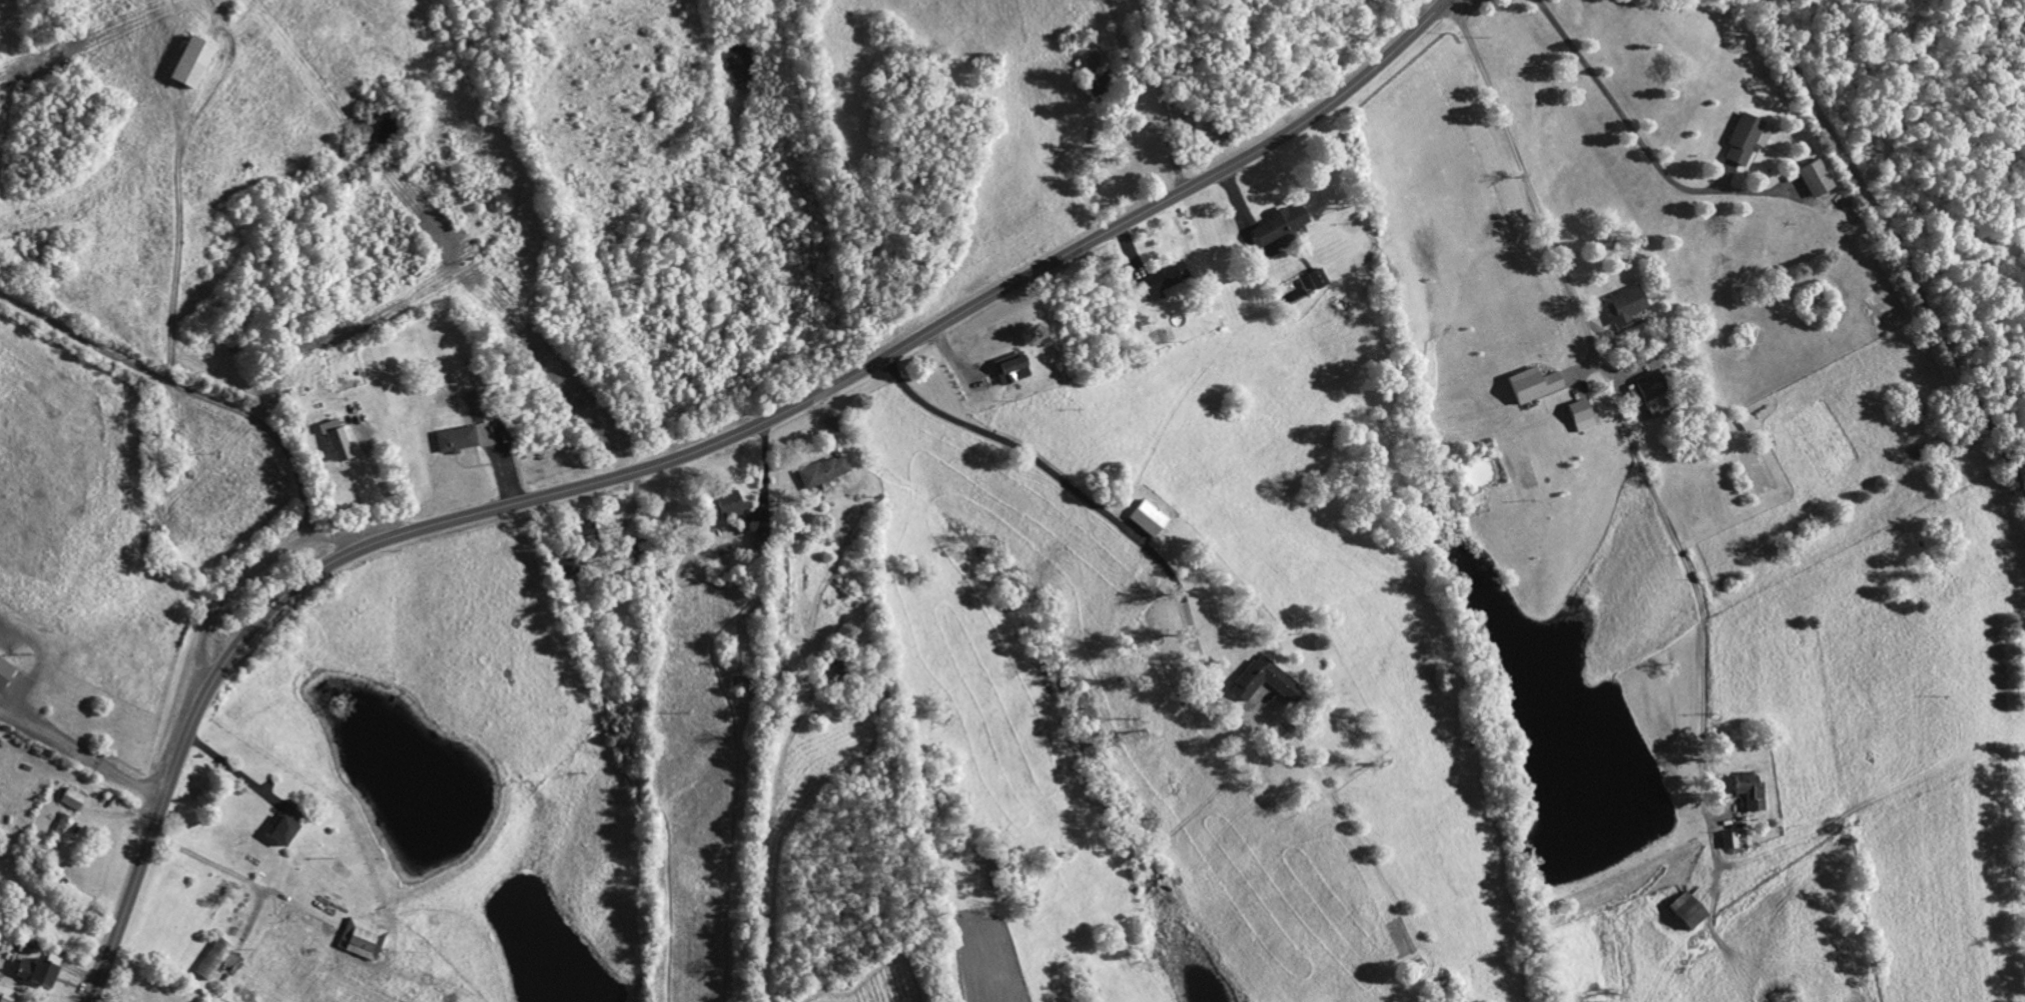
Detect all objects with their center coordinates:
road: (1460, 9)
building: (187, 64)
building: (1092, 85)
road: (1631, 130)
building: (1744, 140)
building: (1812, 179)
building: (1276, 225)
road: (181, 235)
road: (1891, 251)
building: (1315, 279)
building: (1162, 281)
building: (1623, 305)
building: (1008, 370)
road: (212, 384)
building: (1531, 386)
building: (1651, 396)
building: (475, 407)
building: (1578, 416)
road: (1626, 432)
building: (332, 440)
building: (452, 440)
road: (689, 452)
road: (1038, 464)
building: (820, 473)
building: (725, 505)
road: (630, 513)
building: (1146, 520)
building: (582, 529)
building: (564, 570)
building: (4, 673)
building: (1263, 683)
building: (739, 686)
road: (232, 771)
building: (1749, 792)
building: (70, 800)
building: (282, 825)
building: (56, 832)
building: (1728, 842)
road: (236, 875)
building: (1684, 913)
building: (359, 941)
building: (211, 961)
building: (37, 972)
building: (5, 995)

